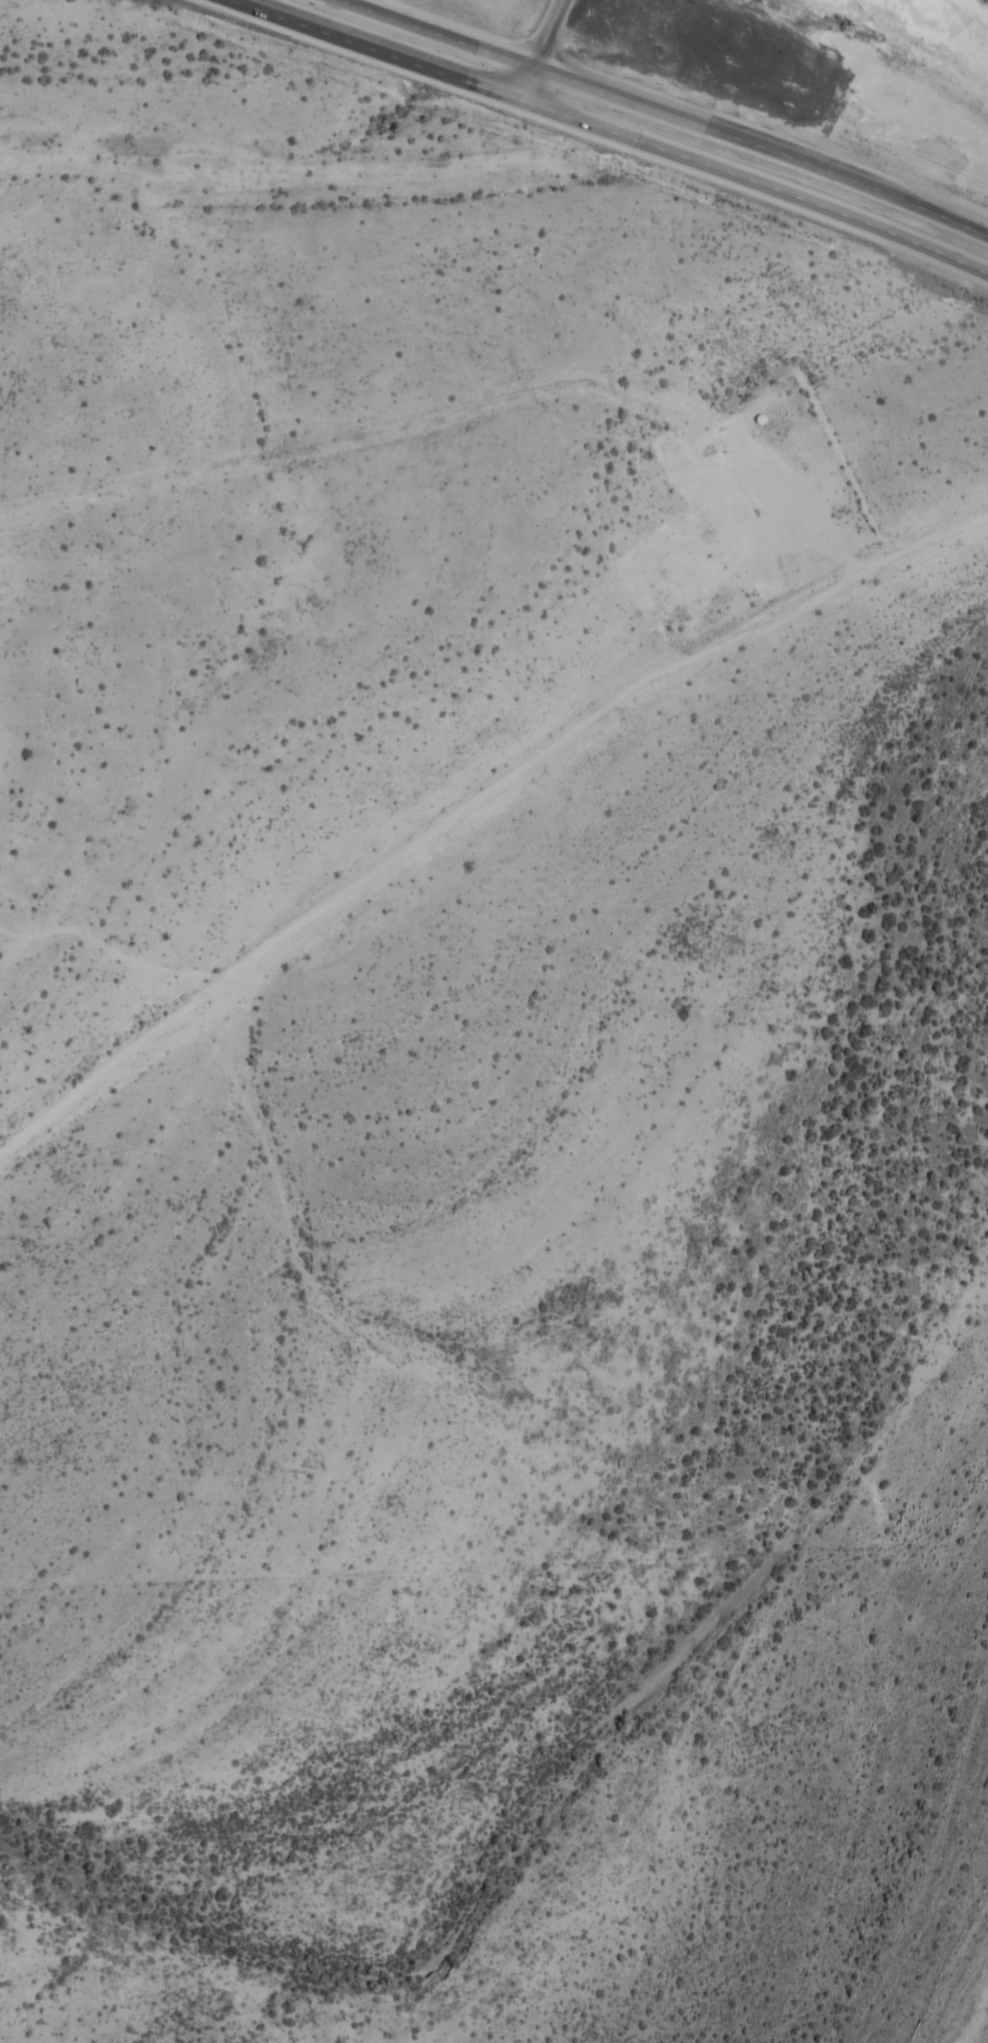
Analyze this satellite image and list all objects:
road: (537, 51)
road: (664, 113)
road: (609, 134)
road: (799, 509)
road: (475, 802)
road: (109, 948)
park: (263, 1809)

